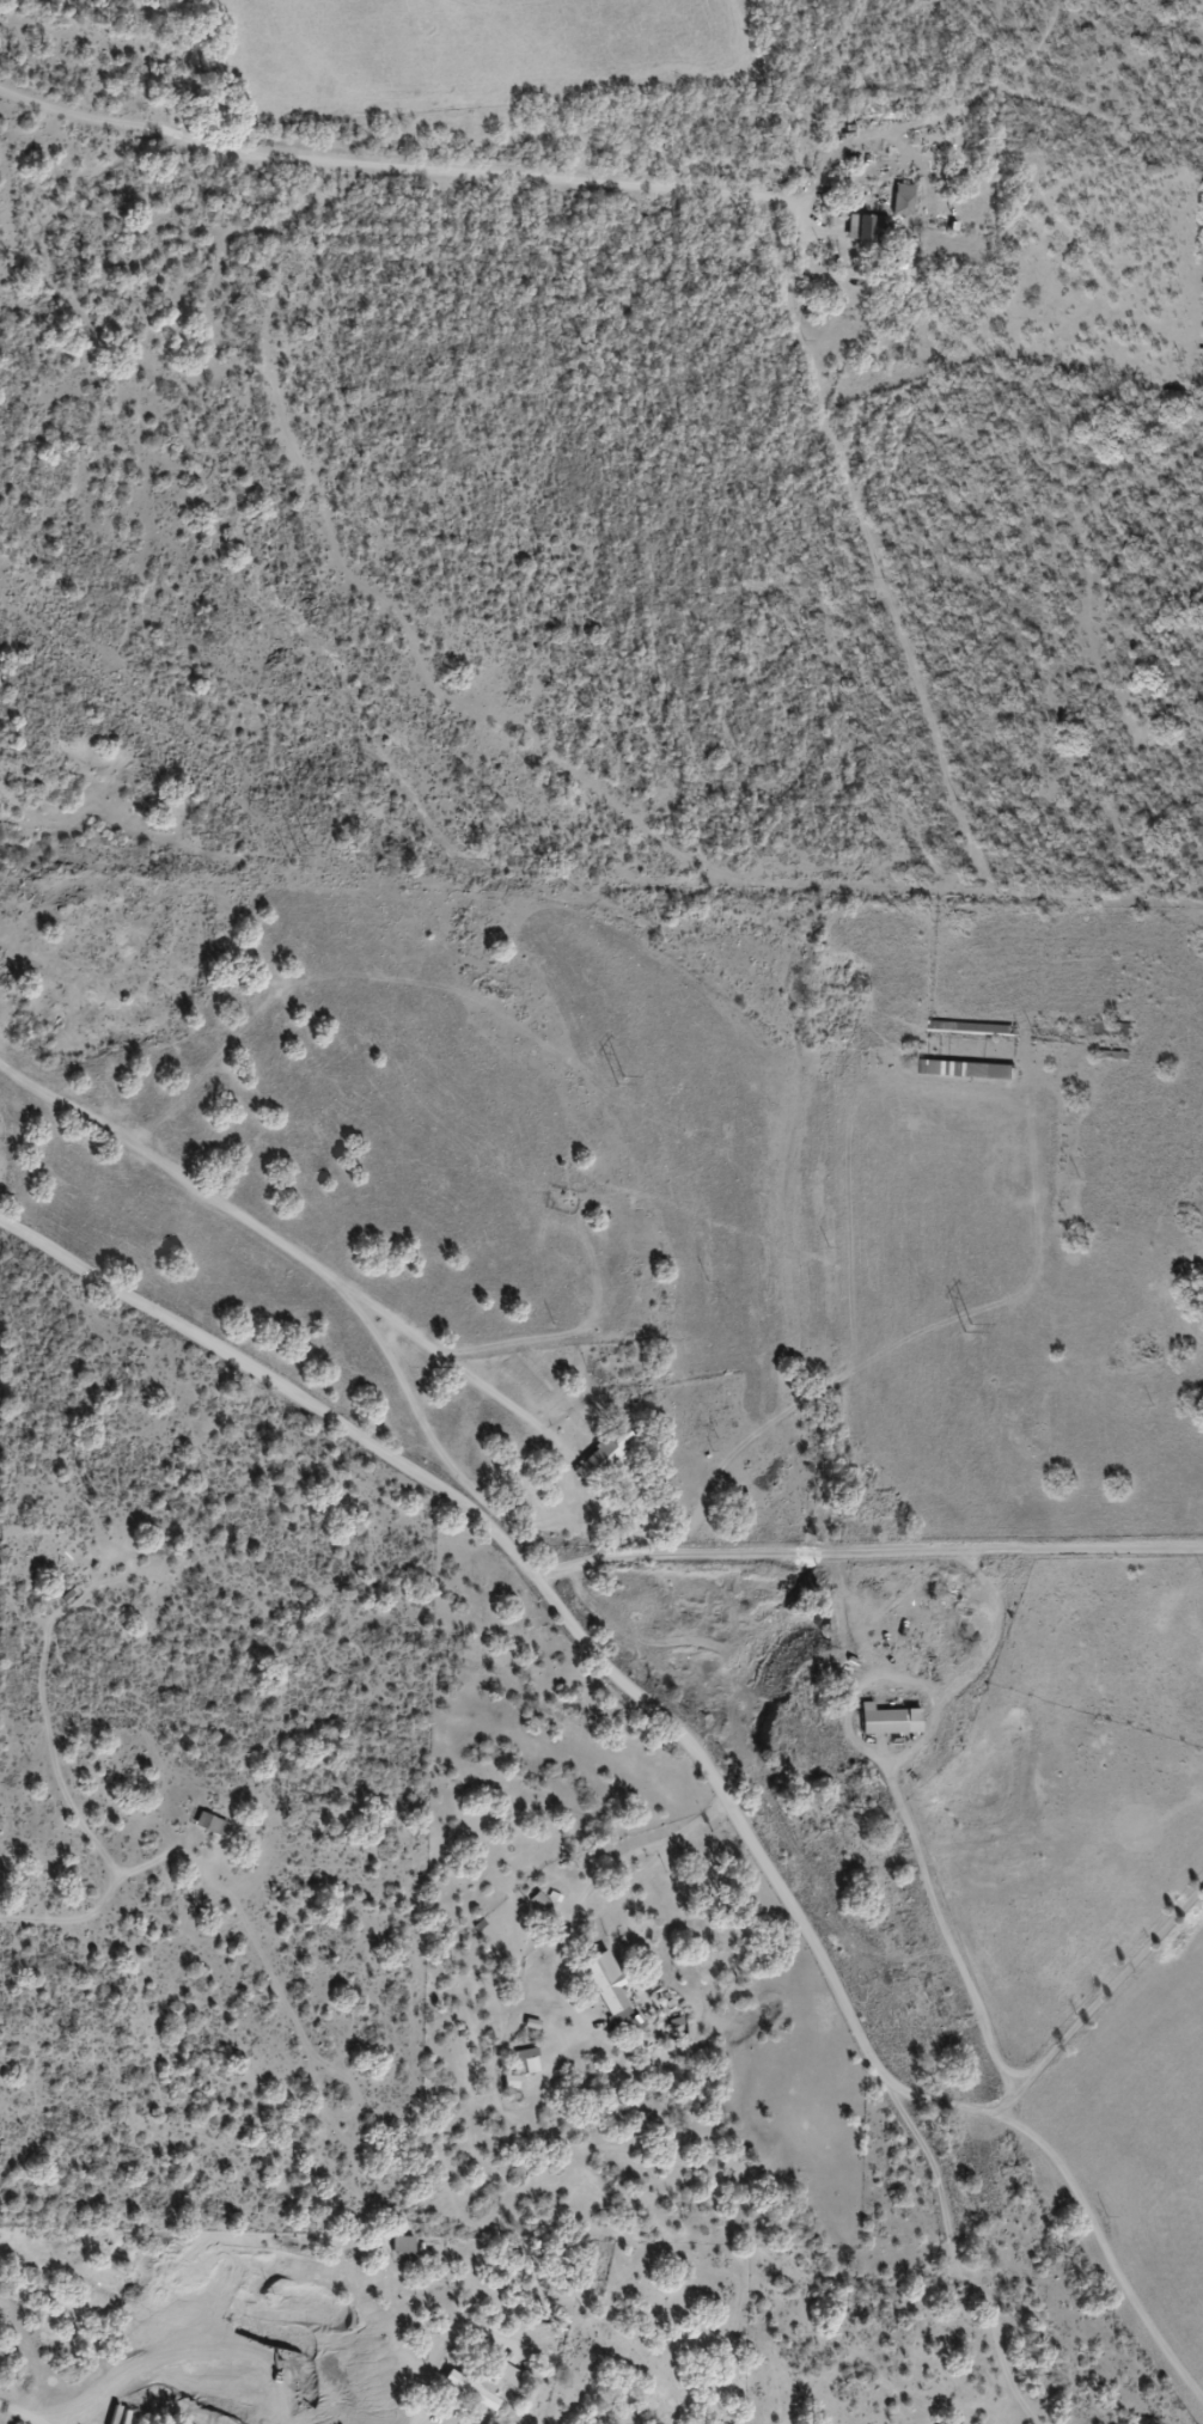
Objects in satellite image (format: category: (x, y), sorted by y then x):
road: (609, 183)
building: (902, 201)
building: (857, 228)
power tower: (297, 855)
building: (1112, 1027)
building: (966, 1069)
power tower: (611, 1086)
power tower: (959, 1325)
building: (601, 1454)
road: (609, 1667)
building: (888, 1721)
building: (209, 1825)
building: (606, 1989)
building: (530, 2060)
building: (402, 2246)
building: (508, 2376)

